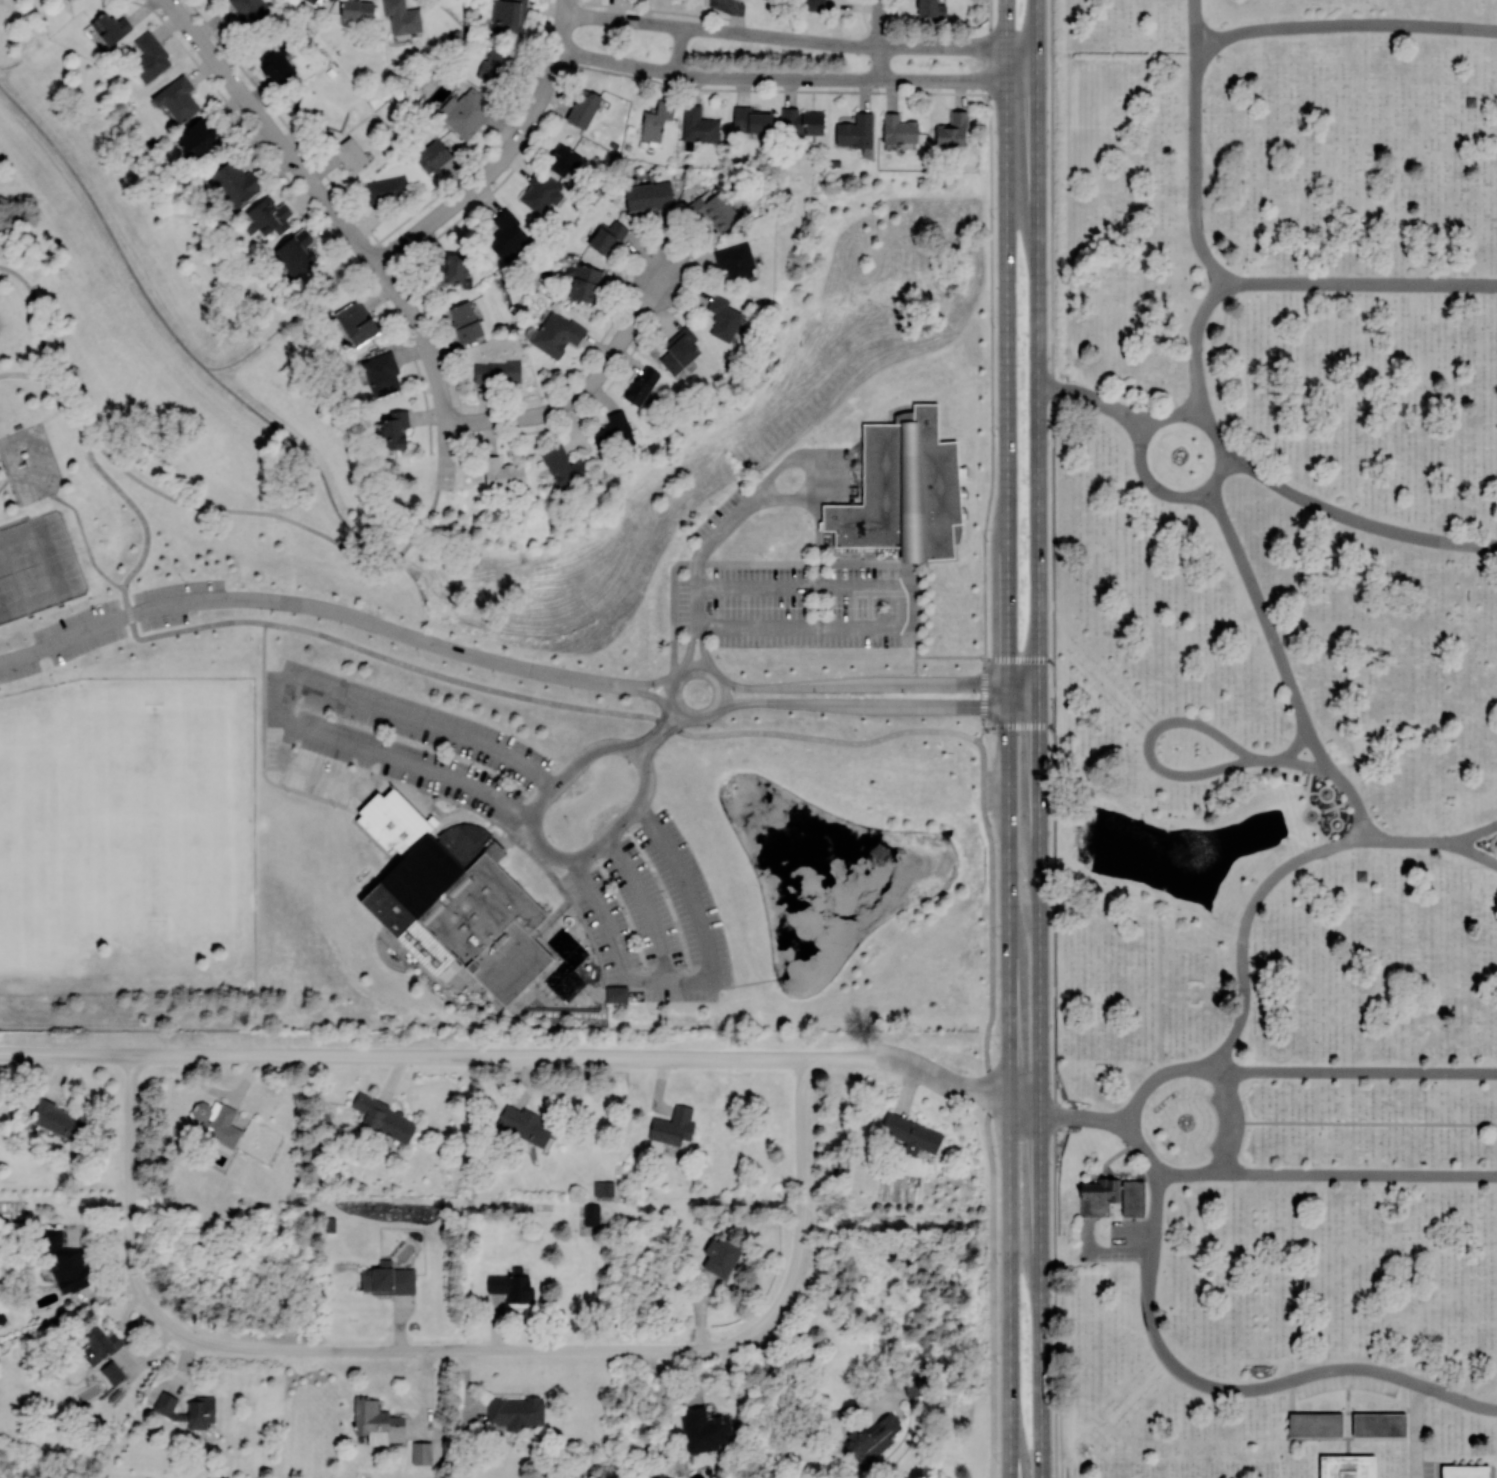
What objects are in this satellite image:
building: (331, 0)
building: (312, 1)
building: (814, 5)
building: (931, 8)
building: (357, 9)
building: (250, 10)
building: (507, 16)
building: (402, 17)
road: (1343, 23)
road: (562, 24)
road: (1194, 25)
building: (110, 27)
road: (879, 39)
road: (800, 40)
road: (991, 48)
road: (678, 49)
building: (150, 57)
building: (277, 65)
building: (495, 65)
road: (797, 78)
building: (177, 98)
building: (584, 108)
building: (465, 112)
building: (656, 120)
building: (751, 121)
building: (801, 122)
building: (699, 126)
building: (898, 129)
building: (952, 130)
building: (855, 131)
road: (273, 132)
building: (196, 138)
building: (351, 155)
building: (433, 155)
building: (562, 160)
road: (488, 173)
road: (1194, 173)
building: (235, 183)
building: (386, 189)
building: (541, 192)
road: (1052, 192)
building: (648, 196)
building: (713, 210)
building: (267, 217)
building: (506, 234)
building: (606, 236)
building: (295, 251)
building: (735, 261)
building: (452, 267)
road: (1360, 281)
building: (584, 283)
road: (38, 315)
building: (723, 318)
building: (464, 321)
building: (356, 323)
building: (556, 333)
road: (1008, 341)
road: (1194, 345)
road: (1037, 347)
building: (679, 352)
road: (435, 369)
building: (497, 371)
building: (381, 373)
road: (18, 374)
road: (992, 376)
building: (641, 385)
road: (582, 391)
road: (66, 398)
road: (1095, 399)
building: (394, 428)
building: (612, 431)
building: (563, 466)
building: (503, 474)
road: (1200, 490)
building: (905, 492)
road: (755, 504)
road: (278, 516)
road: (1354, 519)
road: (1052, 522)
park: (36, 565)
park: (477, 594)
road: (896, 608)
road: (108, 619)
road: (423, 640)
road: (263, 645)
road: (690, 649)
road: (703, 651)
road: (942, 656)
road: (1018, 658)
road: (1283, 666)
road: (441, 676)
road: (652, 680)
road: (877, 683)
traffic signals: (1007, 683)
road: (287, 687)
road: (1053, 692)
road: (650, 695)
traffic signals: (1038, 695)
road: (984, 699)
road: (877, 703)
traffic signals: (1007, 705)
road: (698, 717)
road: (656, 724)
road: (1018, 725)
road: (661, 737)
park: (1278, 739)
road: (1148, 742)
road: (1296, 743)
parking lot: (389, 744)
road: (1292, 761)
road: (316, 773)
park: (465, 806)
park: (167, 811)
road: (1471, 833)
road: (1494, 843)
park: (27, 854)
road: (559, 855)
fountain: (1169, 857)
road: (1283, 868)
road: (1008, 886)
building: (453, 898)
road: (645, 903)
parking lot: (653, 913)
road: (991, 916)
road: (697, 979)
building: (616, 993)
road: (1161, 995)
road: (424, 1053)
road: (929, 1071)
road: (1355, 1071)
road: (1158, 1074)
road: (1039, 1086)
road: (1053, 1101)
road: (1024, 1103)
road: (1084, 1117)
building: (57, 1119)
building: (383, 1120)
road: (1235, 1120)
road: (1366, 1121)
building: (217, 1122)
parking lot: (1223, 1123)
building: (523, 1124)
building: (673, 1126)
building: (916, 1134)
road: (1140, 1148)
road: (131, 1162)
road: (1187, 1172)
road: (1357, 1173)
building: (603, 1188)
road: (802, 1195)
building: (1098, 1195)
building: (1133, 1197)
road: (1154, 1212)
building: (591, 1214)
parking lot: (1130, 1231)
road: (1102, 1253)
building: (722, 1256)
building: (65, 1262)
road: (1260, 1264)
building: (388, 1279)
road: (993, 1284)
road: (1009, 1284)
building: (511, 1285)
building: (98, 1344)
road: (433, 1349)
building: (112, 1372)
road: (1099, 1374)
parking lot: (1346, 1380)
building: (914, 1381)
road: (1235, 1388)
road: (1348, 1388)
road: (1404, 1393)
road: (1456, 1397)
building: (201, 1404)
road: (1410, 1408)
road: (797, 1409)
road: (1303, 1411)
road: (1377, 1411)
building: (515, 1412)
building: (377, 1422)
building: (1316, 1424)
road: (1347, 1424)
building: (1379, 1424)
building: (704, 1430)
road: (1416, 1430)
road: (1101, 1433)
road: (1348, 1437)
building: (872, 1438)
road: (1184, 1440)
road: (1347, 1445)
building: (422, 1452)
building: (1348, 1466)
parking lot: (1427, 1468)
building: (1467, 1471)

